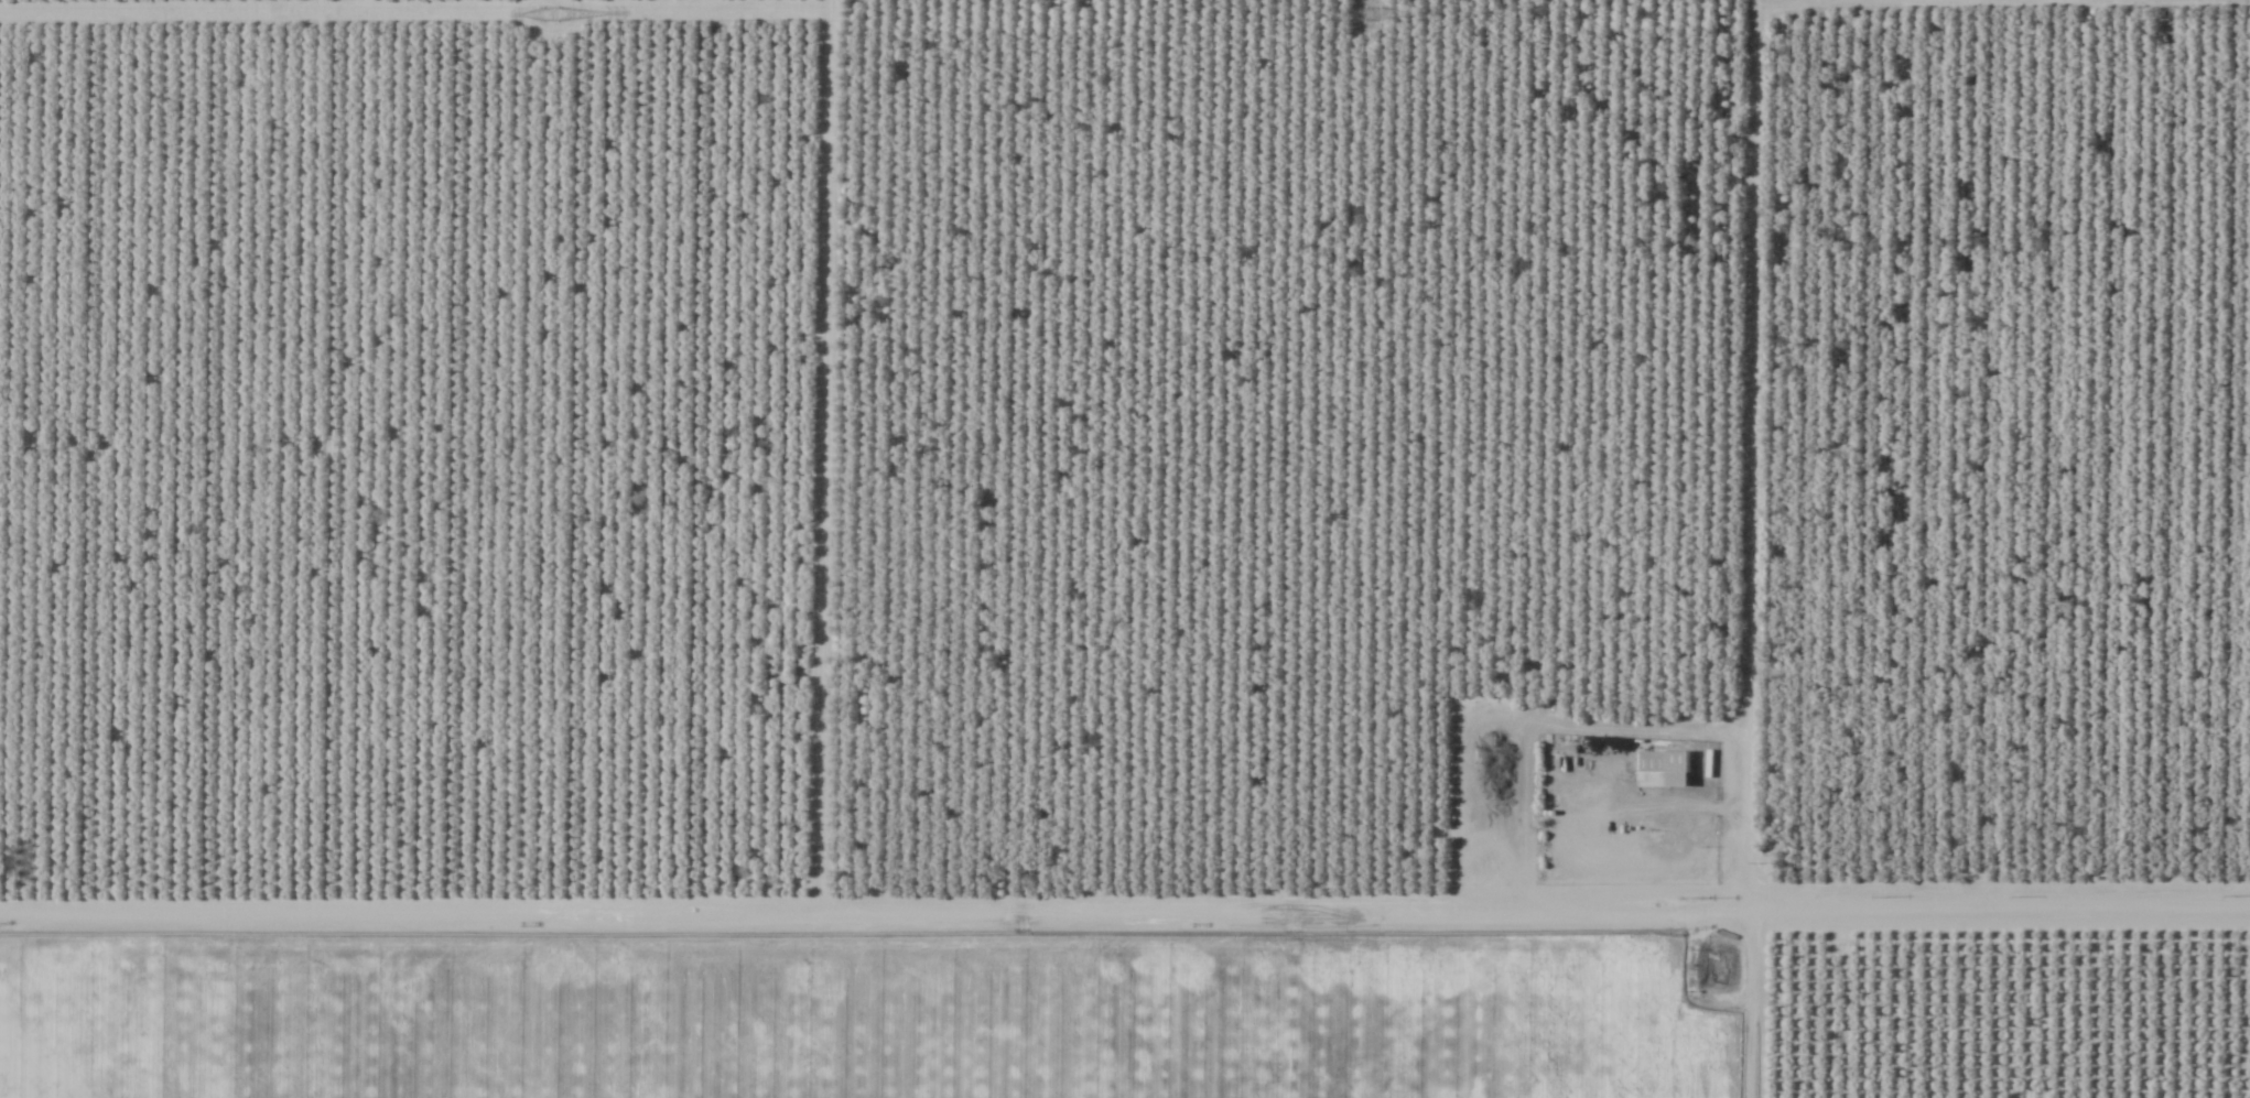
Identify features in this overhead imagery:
building: (1662, 763)
road: (1125, 917)
crop: (868, 1017)

